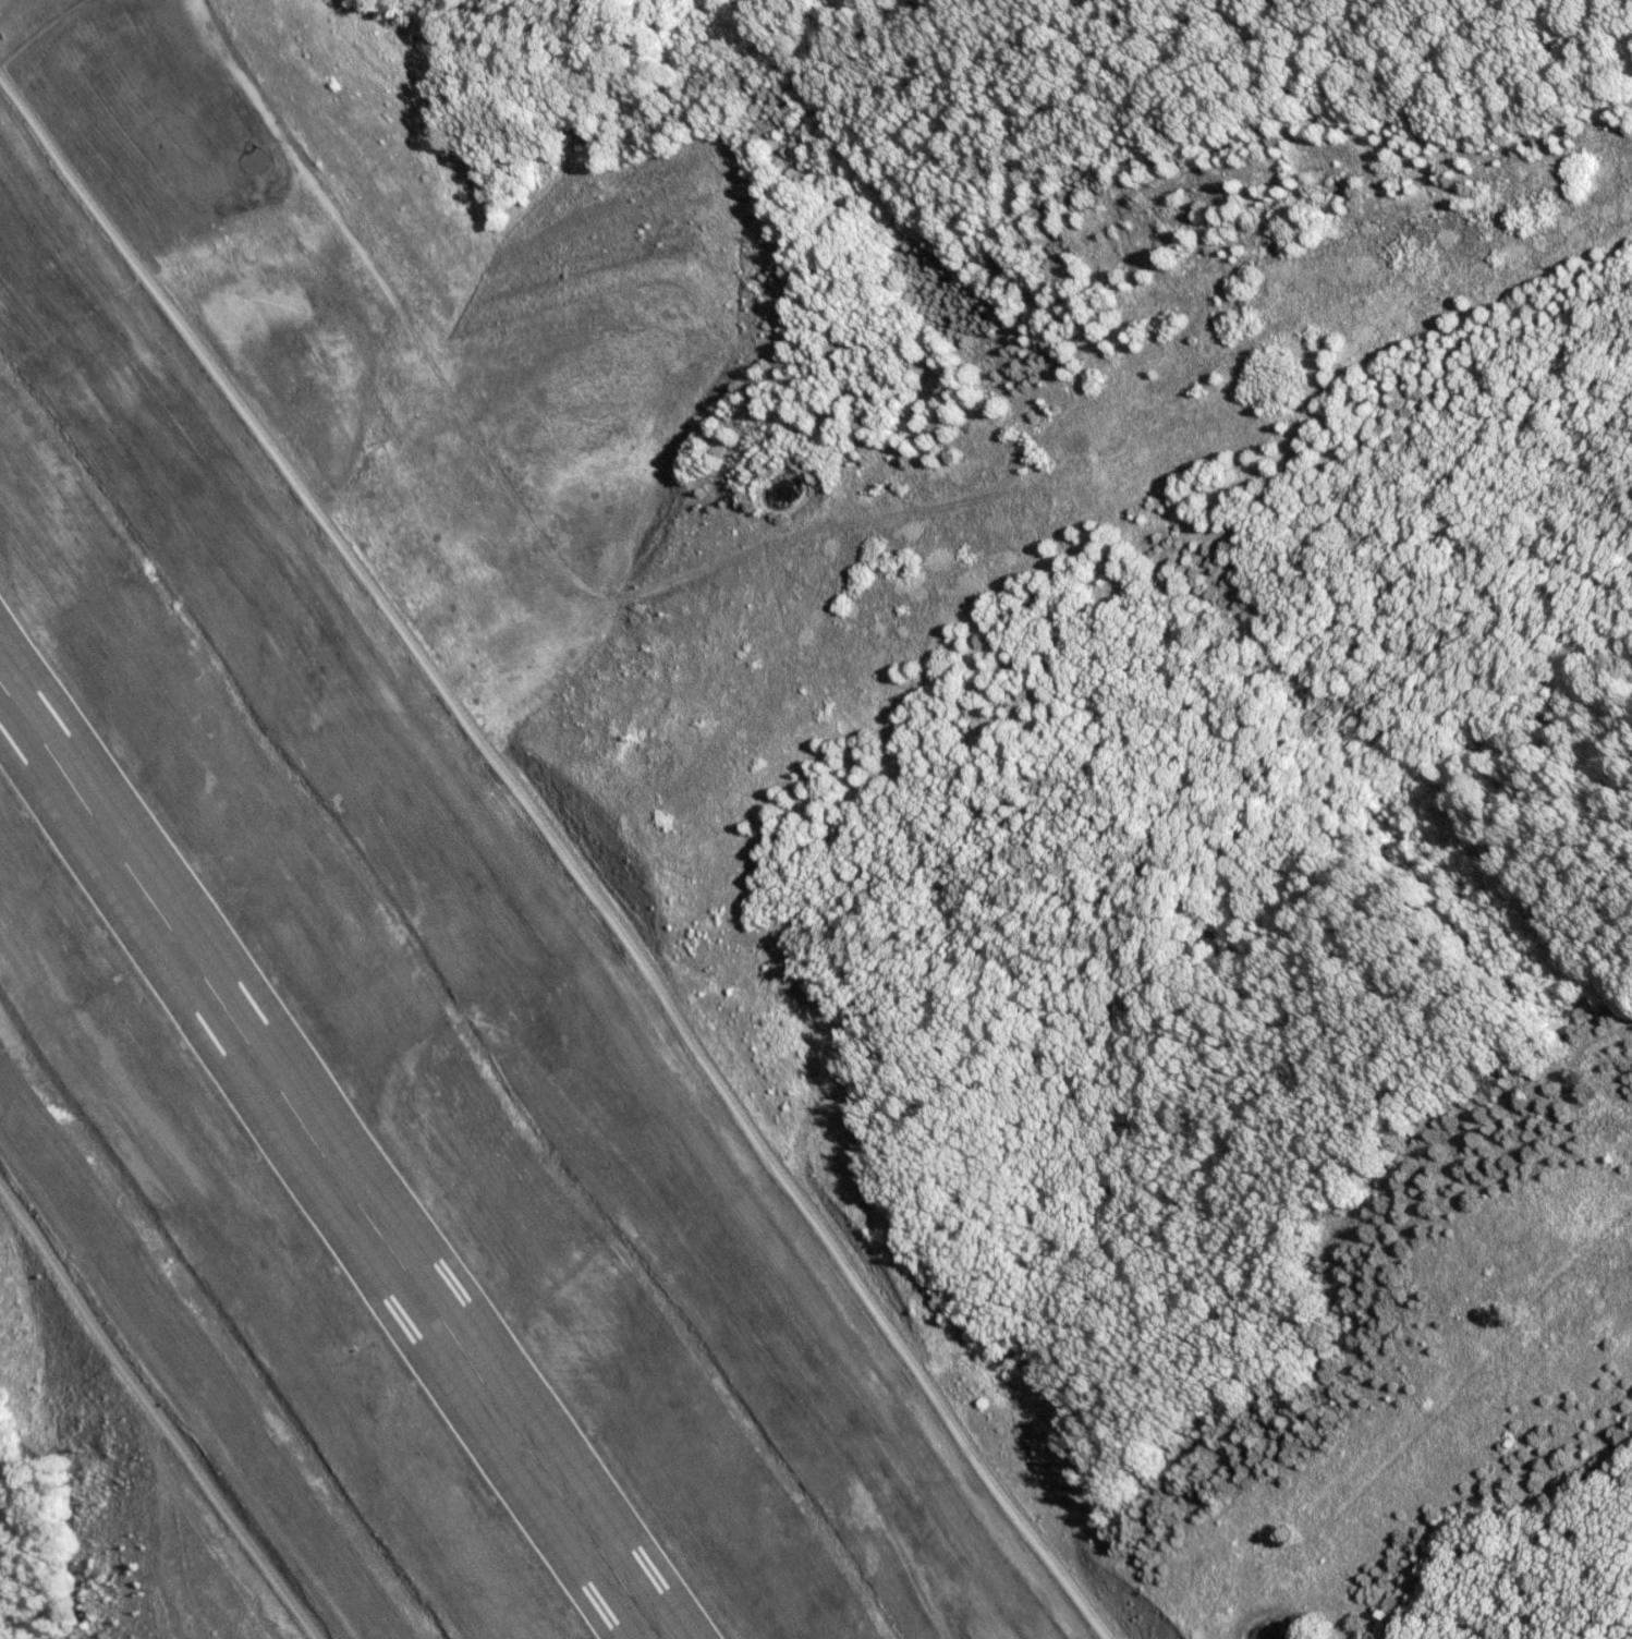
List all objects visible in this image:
road: (534, 822)
airport: (447, 1029)
airport runway: (319, 1178)
road: (151, 1421)

